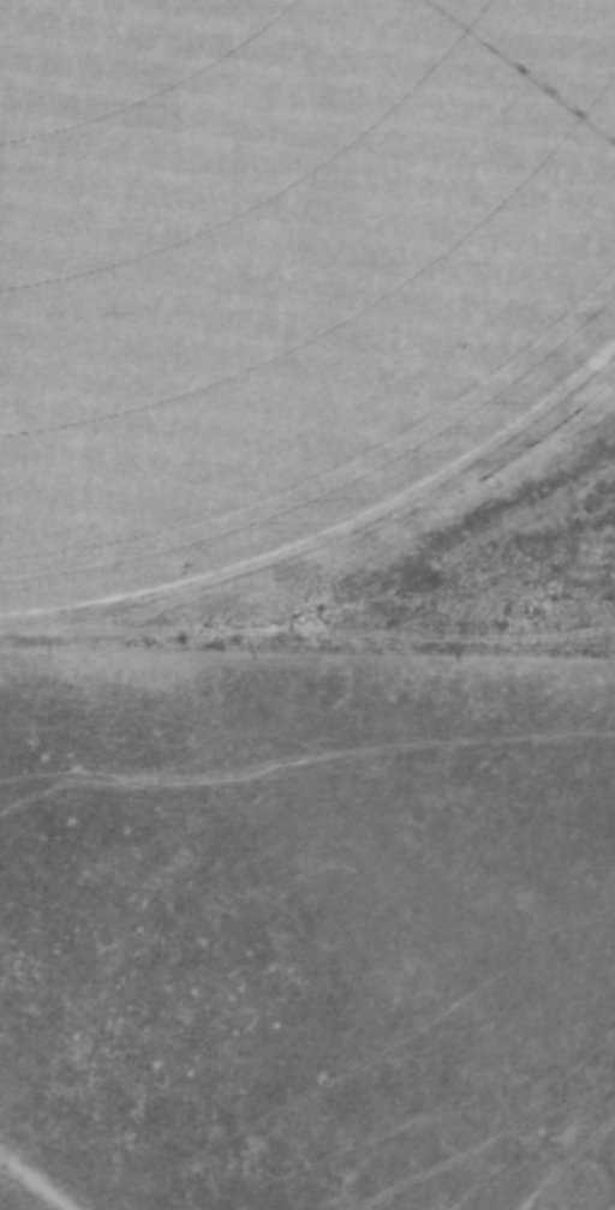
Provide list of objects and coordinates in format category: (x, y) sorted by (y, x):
crop: (293, 289)
road: (34, 1181)

